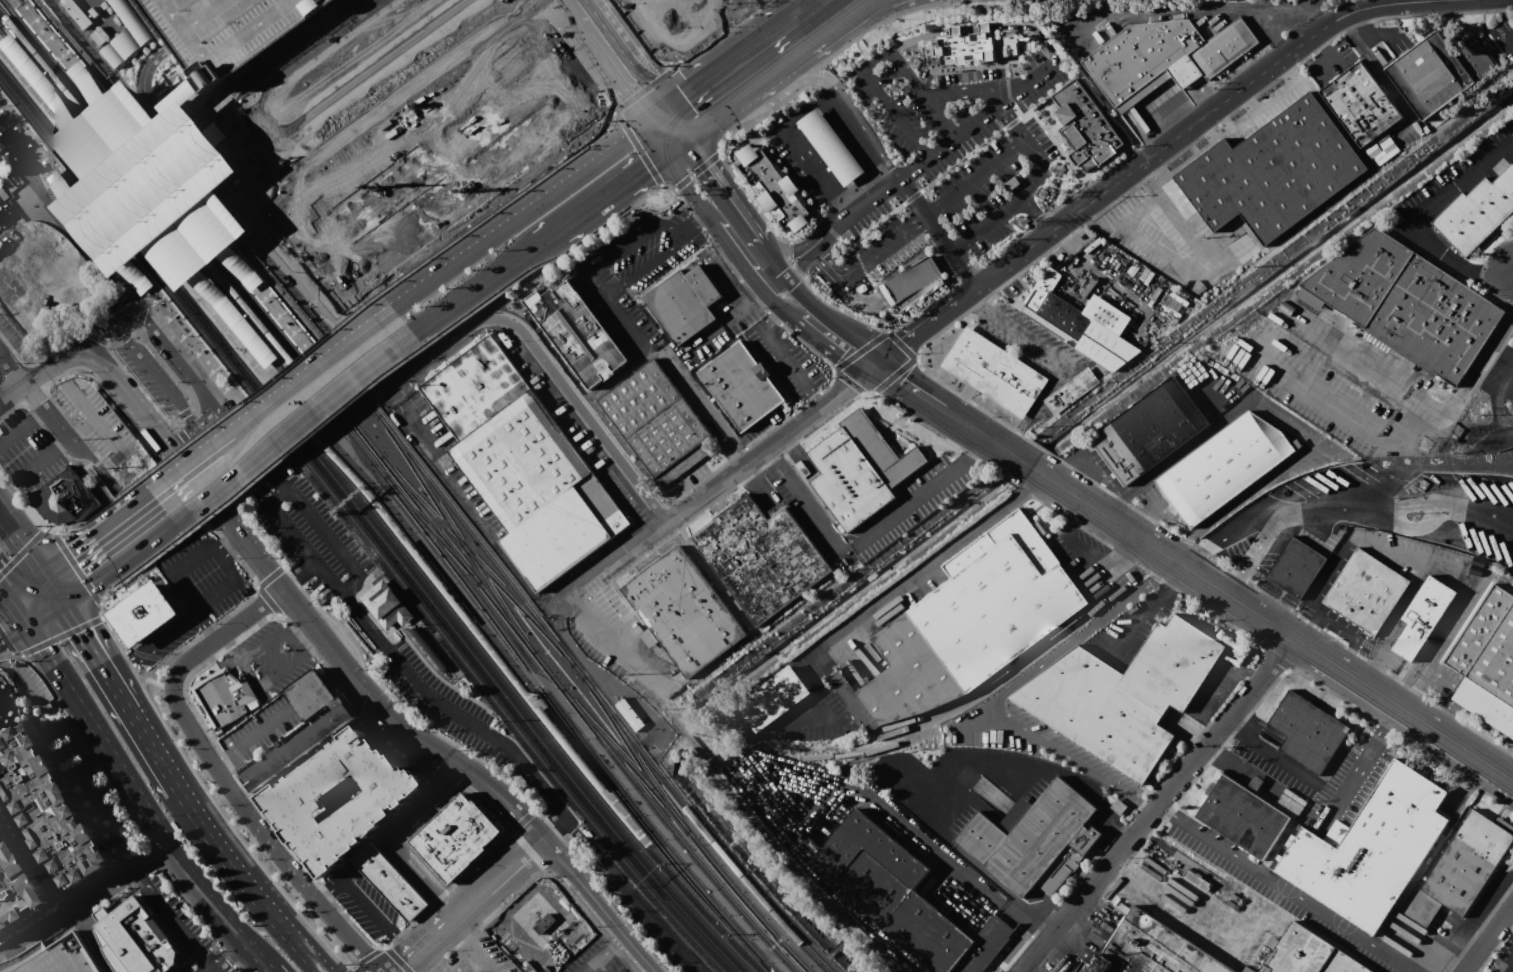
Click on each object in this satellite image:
road: (944, 1)
road: (907, 2)
power tower: (733, 4)
railway: (5, 6)
road: (800, 7)
road: (1205, 7)
building: (78, 12)
road: (858, 14)
railway: (2, 15)
road: (182, 15)
road: (213, 15)
road: (870, 15)
road: (877, 22)
building: (670, 24)
building: (983, 27)
building: (953, 28)
road: (963, 28)
building: (227, 30)
parking lot: (227, 30)
road: (1374, 34)
building: (97, 35)
building: (124, 35)
road: (825, 39)
road: (242, 40)
building: (287, 41)
road: (83, 42)
road: (1507, 45)
road: (6, 46)
building: (963, 47)
building: (1171, 52)
road: (269, 53)
road: (634, 54)
road: (63, 55)
road: (228, 55)
road: (746, 55)
road: (604, 63)
road: (681, 63)
power tower: (918, 63)
road: (1325, 63)
building: (356, 67)
building: (1438, 67)
road: (1294, 69)
road: (782, 70)
road: (39, 73)
road: (821, 75)
road: (27, 82)
power tower: (902, 86)
road: (644, 88)
road: (1392, 88)
road: (925, 90)
road: (1234, 92)
road: (142, 94)
road: (127, 95)
traffic signals: (626, 95)
road: (842, 96)
traffic signals: (686, 100)
road: (831, 103)
building: (1360, 103)
road: (808, 106)
road: (1270, 108)
road: (894, 112)
road: (763, 113)
road: (722, 114)
road: (839, 115)
power tower: (880, 115)
road: (809, 118)
road: (1226, 118)
road: (659, 119)
road: (206, 120)
road: (680, 125)
building: (1092, 126)
road: (849, 128)
road: (792, 129)
road: (818, 130)
road: (1212, 133)
road: (801, 141)
road: (657, 142)
road: (828, 143)
road: (860, 143)
building: (1387, 145)
road: (942, 146)
road: (636, 147)
road: (678, 147)
building: (830, 147)
parking lot: (961, 147)
road: (230, 148)
road: (1034, 150)
road: (811, 155)
road: (870, 157)
road: (839, 158)
building: (435, 163)
traffic signals: (708, 165)
road: (241, 166)
road: (44, 169)
railway: (174, 169)
road: (813, 169)
building: (1273, 169)
traffic signals: (646, 170)
road: (698, 170)
road: (822, 170)
road: (47, 171)
road: (849, 172)
power tower: (1059, 172)
road: (977, 175)
road: (1153, 179)
railway: (153, 183)
road: (833, 184)
road: (1457, 184)
road: (1133, 185)
building: (149, 187)
building: (774, 188)
railway: (146, 189)
road: (690, 190)
road: (726, 191)
road: (613, 193)
power tower: (1044, 193)
railway: (144, 194)
building: (2, 195)
road: (498, 210)
road: (926, 211)
building: (1478, 211)
road: (1035, 212)
building: (4, 213)
road: (695, 222)
road: (515, 223)
power tower: (1024, 225)
road: (1187, 226)
road: (65, 228)
road: (905, 230)
road: (103, 231)
road: (95, 238)
railway: (141, 239)
road: (549, 239)
road: (633, 242)
road: (1145, 242)
road: (797, 245)
railway: (137, 252)
road: (812, 253)
road: (944, 254)
road: (740, 258)
road: (775, 260)
road: (860, 261)
railway: (136, 262)
road: (541, 263)
road: (826, 263)
road: (1463, 263)
road: (968, 264)
road: (646, 265)
road: (1002, 266)
road: (1480, 273)
road: (909, 277)
road: (252, 280)
road: (1510, 281)
building: (913, 283)
road: (777, 284)
road: (596, 285)
road: (148, 294)
road: (470, 296)
road: (773, 297)
road: (858, 297)
road: (971, 298)
road: (226, 299)
road: (146, 300)
building: (1410, 301)
building: (684, 303)
building: (1074, 307)
road: (776, 308)
road: (213, 309)
road: (794, 315)
road: (131, 316)
road: (732, 317)
road: (838, 318)
road: (625, 325)
road: (914, 332)
building: (577, 335)
traffic signals: (905, 339)
road: (164, 340)
parking lot: (1027, 342)
road: (99, 343)
parking lot: (677, 346)
road: (839, 350)
road: (780, 352)
traffic signals: (843, 353)
railway: (304, 354)
road: (1056, 356)
road: (5, 361)
road: (62, 362)
road: (1477, 365)
road: (551, 368)
road: (1370, 371)
building: (994, 372)
road: (157, 378)
parking lot: (155, 379)
traffic signals: (894, 379)
road: (897, 381)
road: (849, 385)
road: (397, 386)
building: (742, 386)
traffic signals: (849, 386)
road: (21, 388)
road: (267, 388)
building: (1069, 389)
road: (286, 393)
road: (205, 394)
road: (79, 399)
road: (819, 399)
road: (130, 401)
road: (1497, 407)
road: (44, 409)
road: (1346, 409)
road: (710, 411)
road: (39, 414)
road: (1282, 418)
parking lot: (95, 420)
building: (659, 423)
road: (297, 427)
road: (969, 427)
road: (81, 428)
building: (1151, 429)
road: (16, 430)
road: (106, 432)
power tower: (1459, 432)
road: (1484, 432)
road: (306, 437)
road: (184, 438)
road: (1011, 441)
road: (62, 443)
power tower: (1428, 447)
railway: (326, 448)
road: (971, 450)
road: (1046, 450)
parking lot: (27, 452)
road: (765, 455)
road: (89, 463)
building: (522, 463)
building: (1225, 464)
road: (1027, 465)
road: (35, 466)
road: (102, 470)
building: (859, 470)
road: (1398, 474)
road: (180, 475)
power tower: (1424, 486)
road: (92, 488)
road: (6, 489)
road: (117, 496)
road: (1469, 498)
building: (65, 499)
road: (803, 505)
road: (685, 507)
road: (909, 507)
road: (467, 508)
road: (988, 516)
road: (1254, 517)
road: (1404, 517)
road: (45, 524)
road: (103, 527)
road: (1141, 527)
railway: (432, 530)
railway: (455, 532)
road: (11, 534)
road: (1277, 535)
road: (154, 536)
road: (334, 543)
road: (228, 544)
road: (23, 548)
road: (1392, 548)
traffic signals: (71, 552)
road: (1201, 553)
road: (186, 556)
building: (762, 557)
railway: (476, 559)
road: (148, 560)
road: (30, 561)
road: (74, 565)
road: (1092, 565)
building: (1296, 566)
road: (298, 576)
road: (1169, 583)
road: (21, 584)
road: (86, 584)
road: (1232, 584)
road: (47, 588)
building: (1366, 591)
road: (2, 592)
road: (585, 593)
road: (2, 596)
road: (216, 596)
road: (1458, 598)
road: (1280, 604)
building: (386, 605)
road: (14, 609)
parking lot: (349, 610)
building: (682, 610)
road: (100, 611)
road: (40, 613)
building: (144, 614)
building: (1423, 615)
building: (971, 621)
road: (205, 624)
road: (1131, 625)
road: (1306, 626)
road: (352, 627)
road: (1274, 627)
road: (298, 629)
railway: (465, 629)
road: (11, 630)
traffic signals: (74, 632)
road: (32, 633)
road: (165, 633)
road: (1352, 633)
road: (115, 634)
road: (1076, 634)
road: (57, 635)
road: (77, 637)
traffic signals: (0, 638)
road: (213, 639)
road: (309, 643)
road: (7, 644)
building: (1488, 644)
road: (626, 646)
railway: (569, 657)
road: (391, 658)
road: (812, 659)
road: (1368, 663)
railway: (543, 665)
road: (119, 666)
railway: (528, 668)
building: (0, 673)
road: (1250, 673)
road: (249, 675)
road: (1434, 681)
road: (1400, 685)
road: (1218, 690)
road: (113, 691)
road: (365, 692)
building: (1123, 694)
building: (4, 697)
railway: (505, 697)
building: (773, 697)
building: (225, 699)
railway: (494, 700)
road: (1390, 717)
road: (974, 721)
road: (1208, 723)
road: (1223, 726)
road: (1232, 726)
road: (259, 727)
building: (1307, 731)
building: (294, 749)
road: (151, 752)
road: (93, 753)
railway: (634, 753)
road: (219, 755)
road: (1067, 755)
road: (1277, 757)
railway: (623, 758)
road: (957, 772)
road: (462, 775)
road: (1350, 775)
road: (1012, 777)
road: (1260, 780)
road: (1092, 791)
building: (337, 797)
building: (46, 804)
road: (144, 805)
road: (1144, 805)
road: (952, 810)
road: (112, 812)
building: (1242, 816)
building: (2, 820)
building: (2, 826)
road: (401, 832)
building: (454, 837)
building: (1036, 840)
road: (271, 845)
road: (929, 846)
building: (1372, 847)
road: (153, 853)
building: (1467, 861)
road: (563, 862)
road: (619, 875)
building: (388, 882)
building: (16, 885)
road: (242, 885)
road: (1283, 888)
road: (1085, 891)
road: (325, 896)
road: (480, 896)
building: (899, 898)
road: (451, 901)
road: (364, 902)
railway: (745, 902)
road: (114, 903)
road: (68, 909)
railway: (696, 912)
road: (176, 919)
road: (618, 928)
road: (469, 935)
building: (133, 938)
road: (1487, 938)
road: (91, 939)
road: (615, 939)
road: (404, 943)
road: (381, 948)
building: (1152, 949)
road: (226, 950)
building: (1308, 954)
building: (52, 957)
road: (594, 958)
parking lot: (597, 960)
road: (474, 962)
road: (493, 962)
road: (407, 963)
road: (1508, 964)
road: (266, 965)
road: (206, 967)
building: (478, 971)
road: (652, 971)

